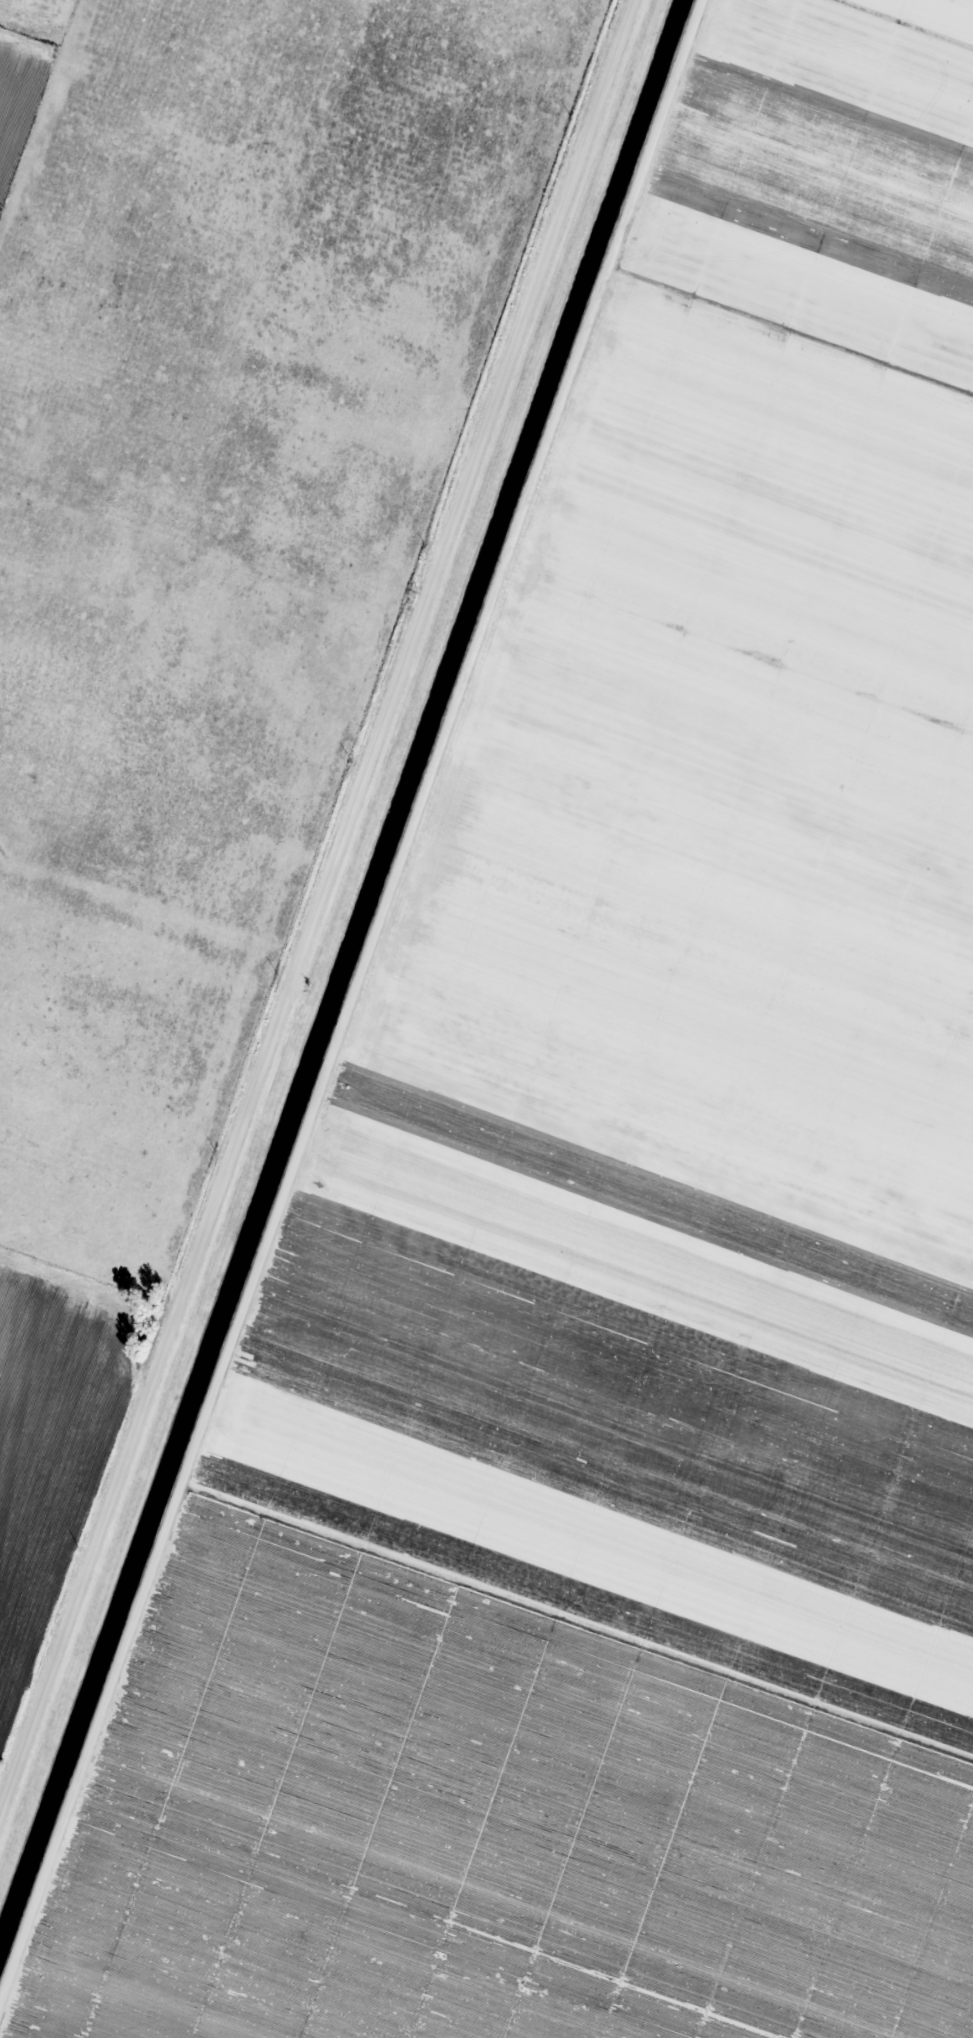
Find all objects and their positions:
road: (321, 921)
road: (349, 1007)

